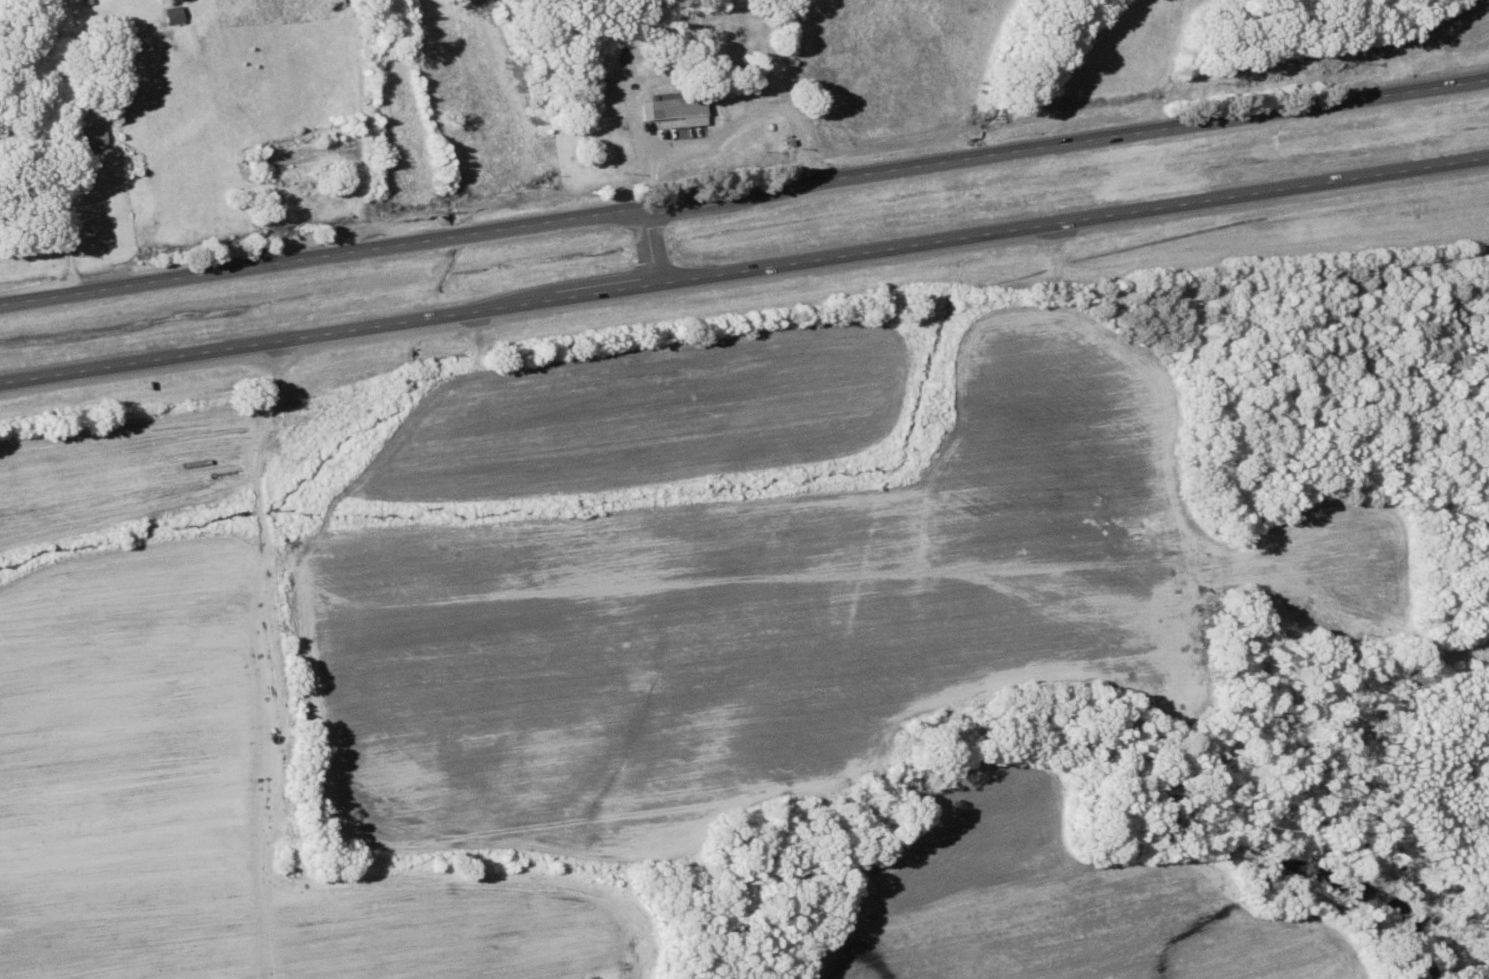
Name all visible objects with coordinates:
building: (171, 16)
building: (724, 34)
road: (795, 90)
building: (676, 110)
road: (344, 123)
building: (88, 140)
road: (744, 191)
road: (650, 245)
road: (744, 269)

